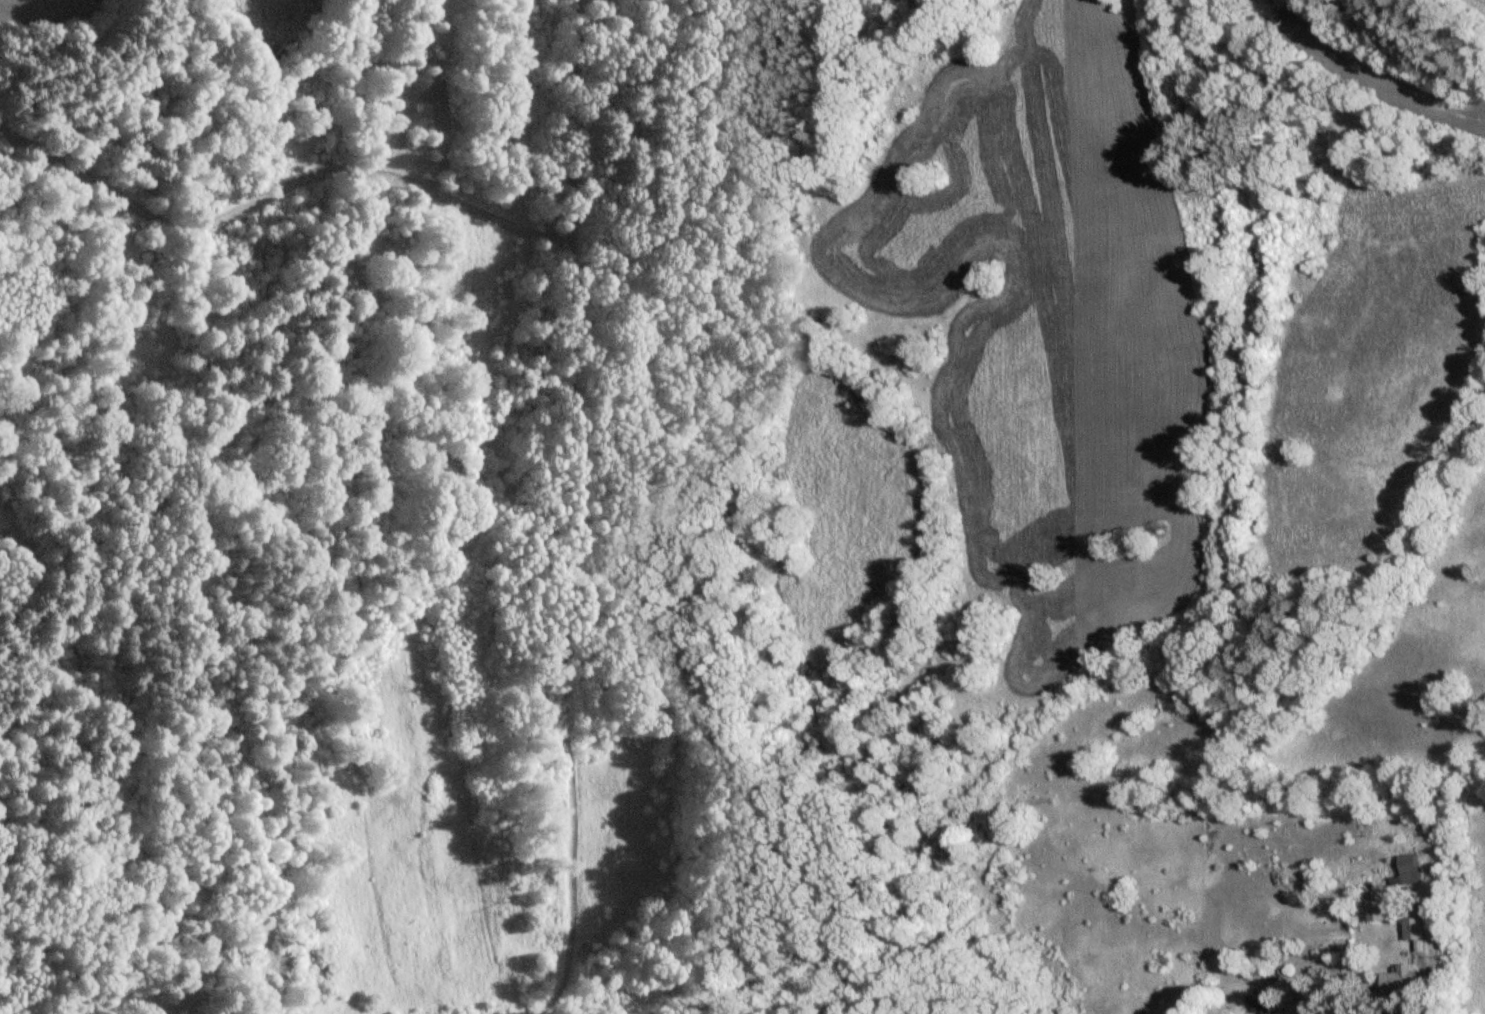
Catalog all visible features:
road: (551, 332)
building: (1405, 869)
building: (1377, 904)
building: (1411, 926)
road: (1418, 978)
building: (1398, 979)
building: (1258, 1001)

